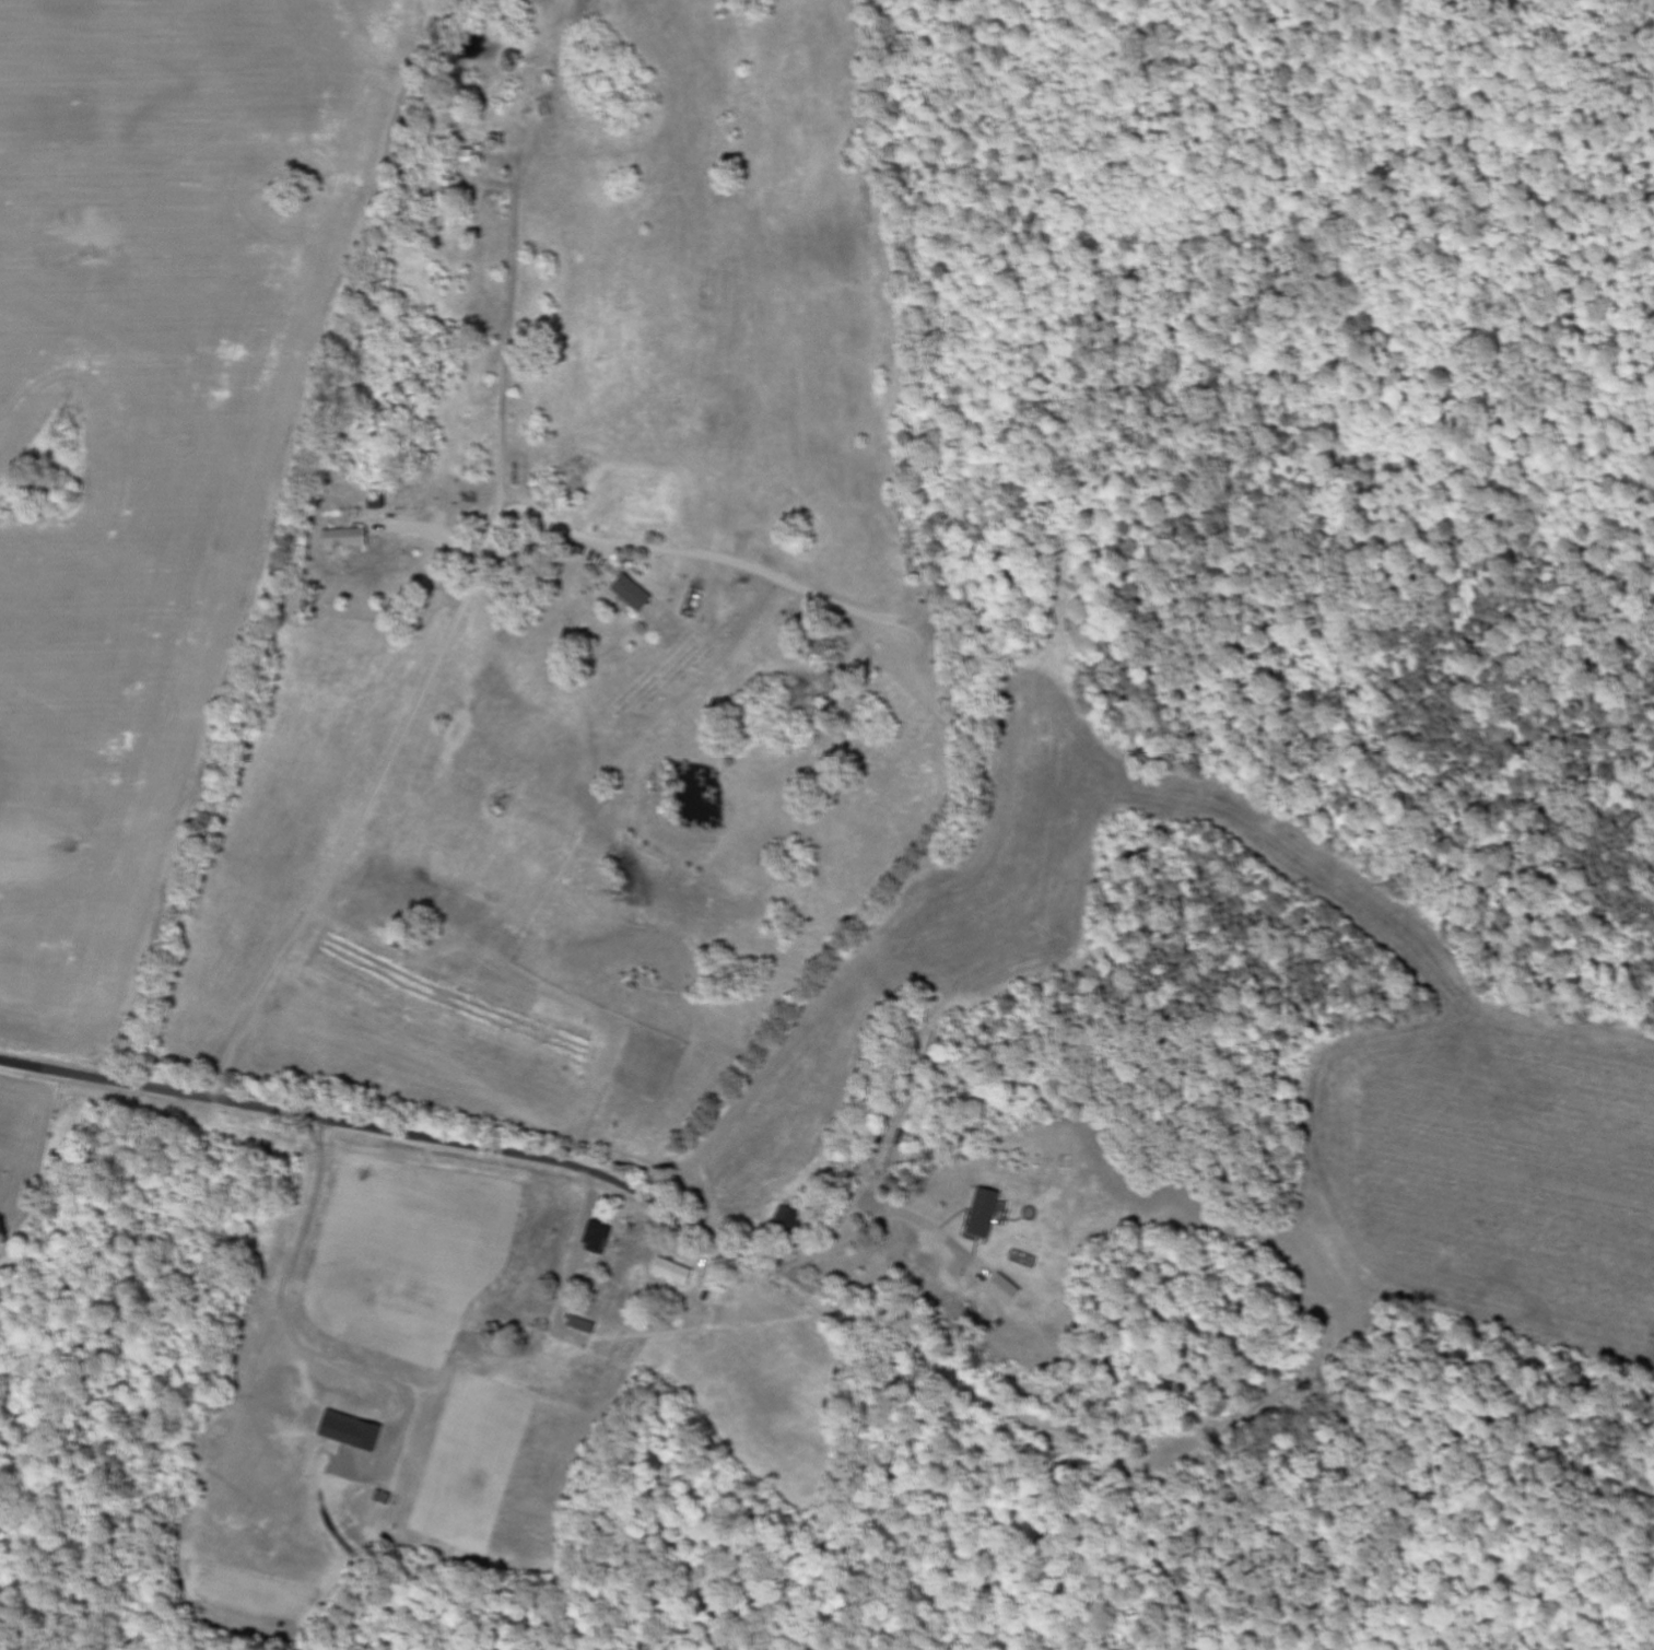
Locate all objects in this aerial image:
building: (348, 538)
building: (634, 593)
road: (435, 671)
road: (389, 1132)
building: (986, 1213)
building: (599, 1240)
building: (676, 1272)
building: (1007, 1290)
building: (352, 1431)

